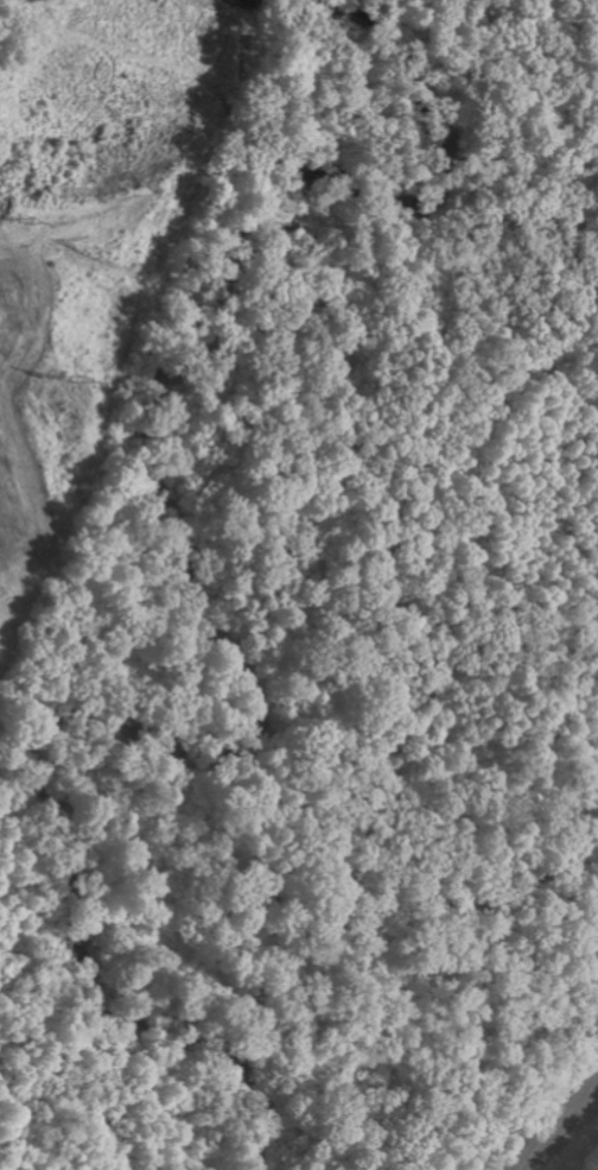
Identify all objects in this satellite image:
road: (559, 1125)

